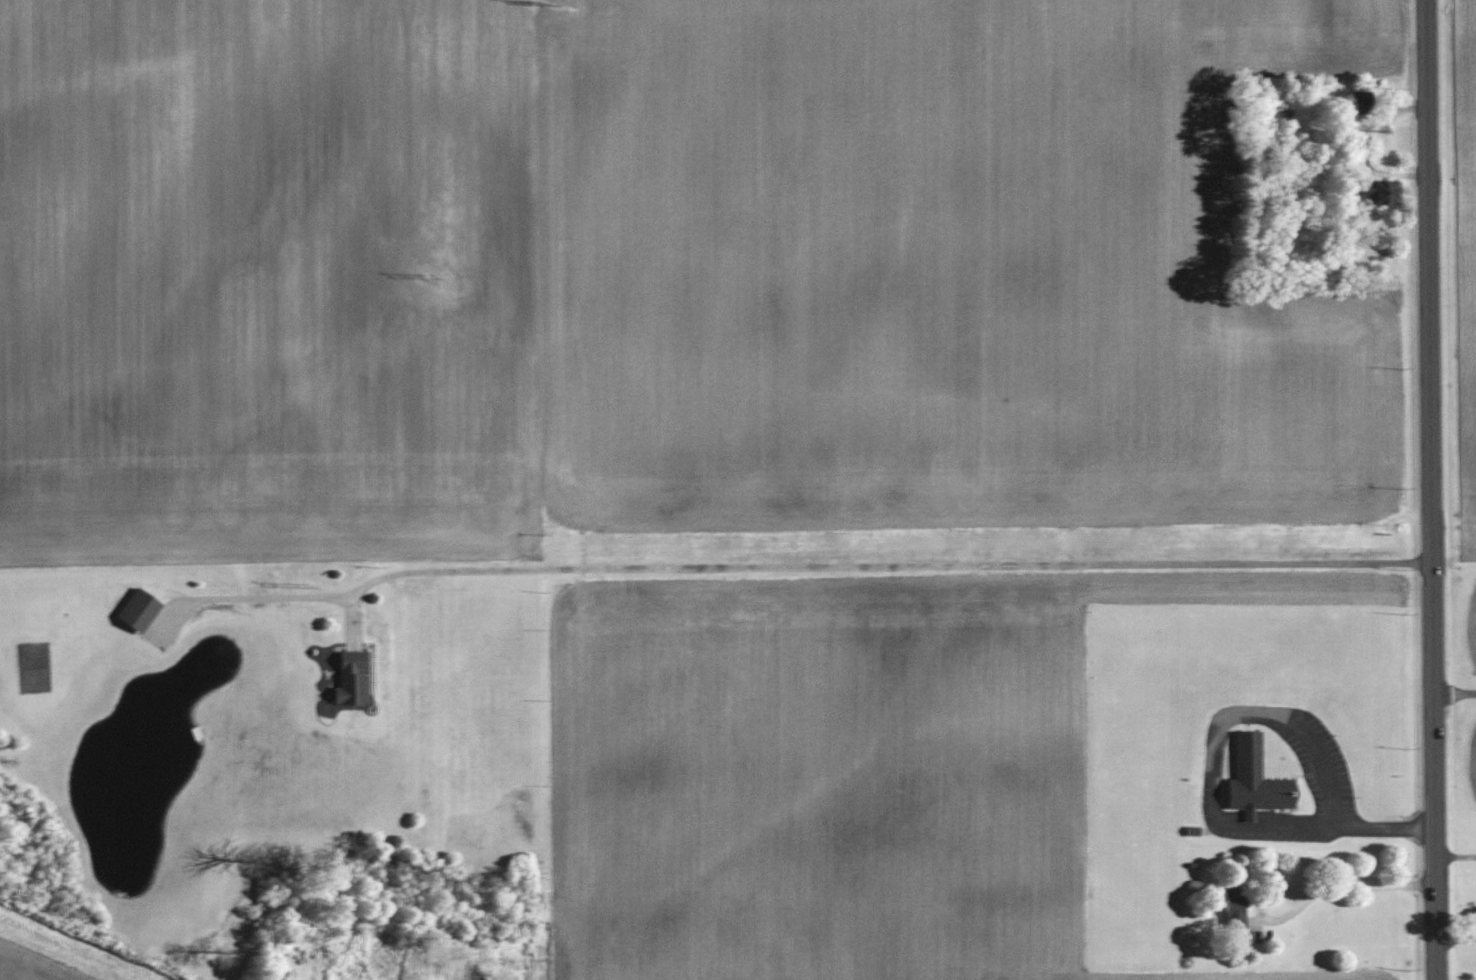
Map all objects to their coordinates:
road: (1425, 188)
building: (1374, 191)
road: (797, 567)
road: (1430, 603)
building: (139, 610)
building: (353, 677)
road: (1254, 712)
building: (1257, 779)
road: (1283, 825)
road: (1385, 827)
road: (1436, 904)
building: (1235, 906)

